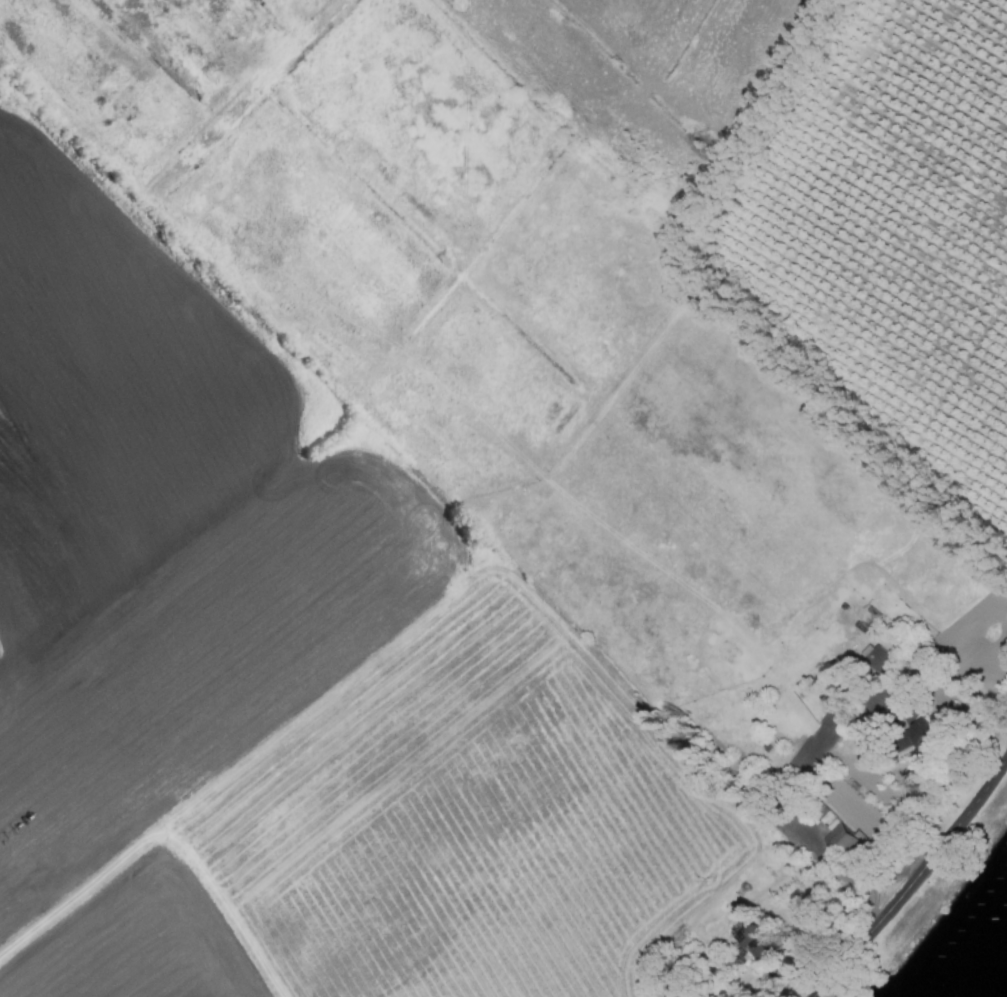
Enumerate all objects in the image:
crop: (493, 488)
building: (916, 734)
building: (836, 842)
road: (914, 883)

